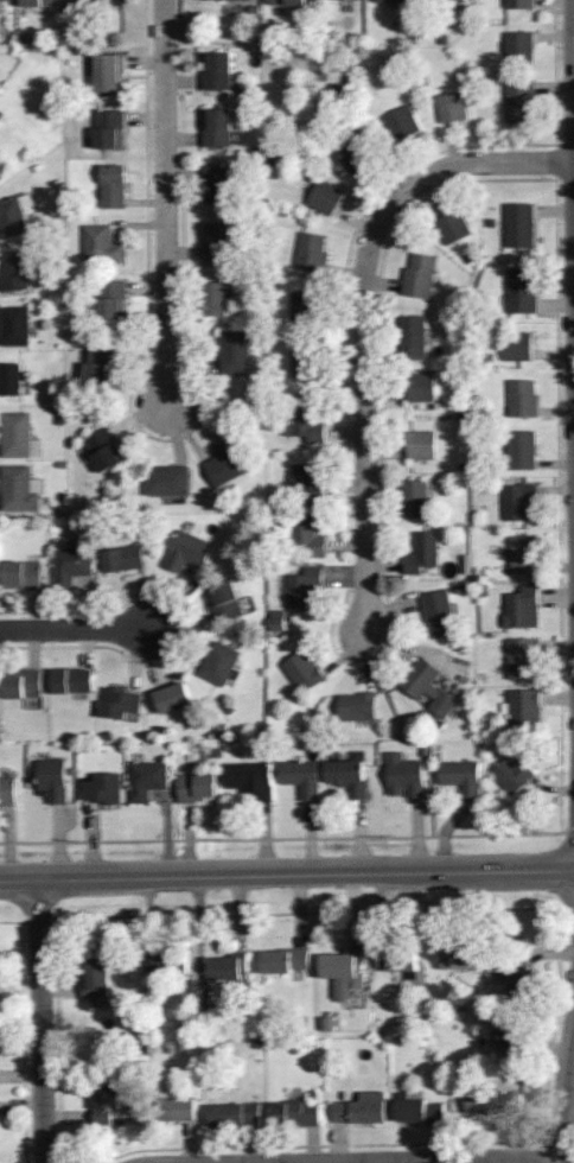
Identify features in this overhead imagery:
building: (210, 0)
building: (384, 0)
building: (285, 1)
building: (7, 2)
building: (42, 2)
building: (101, 2)
building: (522, 2)
road: (573, 17)
building: (519, 46)
building: (216, 70)
building: (108, 71)
building: (518, 98)
building: (452, 104)
building: (401, 121)
building: (106, 127)
building: (217, 127)
building: (350, 146)
building: (1, 174)
building: (218, 183)
building: (113, 185)
building: (325, 196)
road: (164, 202)
building: (14, 216)
building: (518, 223)
building: (452, 225)
building: (218, 241)
building: (102, 243)
building: (311, 250)
building: (13, 271)
building: (419, 274)
building: (521, 290)
building: (110, 298)
building: (215, 298)
building: (305, 305)
road: (364, 316)
building: (14, 324)
building: (412, 336)
building: (517, 344)
building: (235, 351)
building: (305, 362)
building: (98, 364)
building: (11, 377)
building: (420, 386)
building: (522, 396)
building: (304, 421)
building: (18, 434)
building: (420, 444)
building: (103, 449)
building: (521, 449)
building: (224, 462)
building: (306, 476)
building: (166, 478)
building: (20, 488)
building: (414, 498)
building: (517, 500)
building: (306, 534)
building: (186, 551)
building: (422, 552)
building: (523, 554)
building: (121, 558)
building: (70, 563)
building: (23, 573)
building: (304, 586)
building: (224, 600)
building: (522, 606)
building: (439, 611)
road: (75, 628)
building: (525, 660)
building: (219, 662)
building: (304, 672)
building: (71, 680)
building: (23, 682)
building: (428, 686)
building: (172, 697)
building: (119, 701)
building: (357, 705)
building: (523, 710)
building: (512, 774)
building: (352, 775)
building: (404, 775)
building: (52, 777)
building: (250, 777)
building: (147, 778)
building: (304, 778)
building: (461, 778)
building: (196, 786)
building: (102, 787)
building: (7, 790)
road: (287, 873)
building: (459, 957)
building: (285, 959)
building: (396, 959)
building: (166, 961)
building: (230, 967)
building: (343, 971)
building: (516, 973)
building: (100, 975)
road: (42, 1021)
building: (515, 1038)
road: (565, 1094)
building: (104, 1099)
building: (490, 1100)
building: (179, 1105)
building: (361, 1107)
building: (420, 1108)
building: (234, 1110)
building: (293, 1112)
road: (410, 1161)

